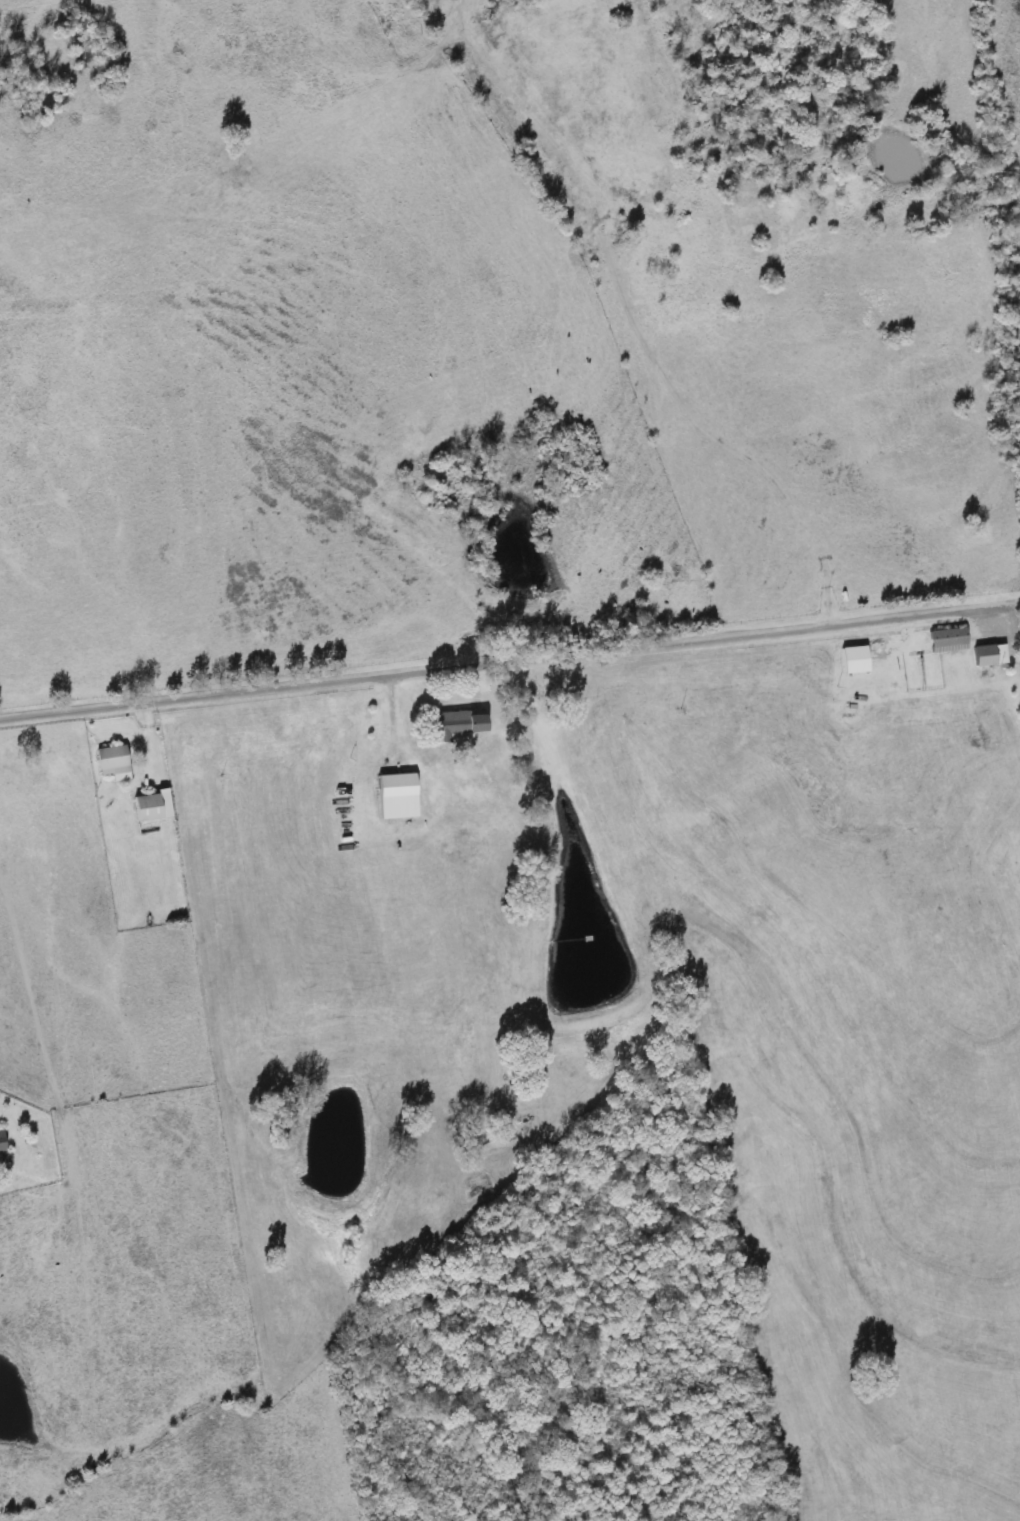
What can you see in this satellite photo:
road: (1013, 625)
building: (944, 640)
building: (985, 655)
building: (850, 660)
road: (501, 666)
building: (455, 725)
building: (109, 762)
building: (393, 796)
building: (148, 806)
building: (0, 1145)

